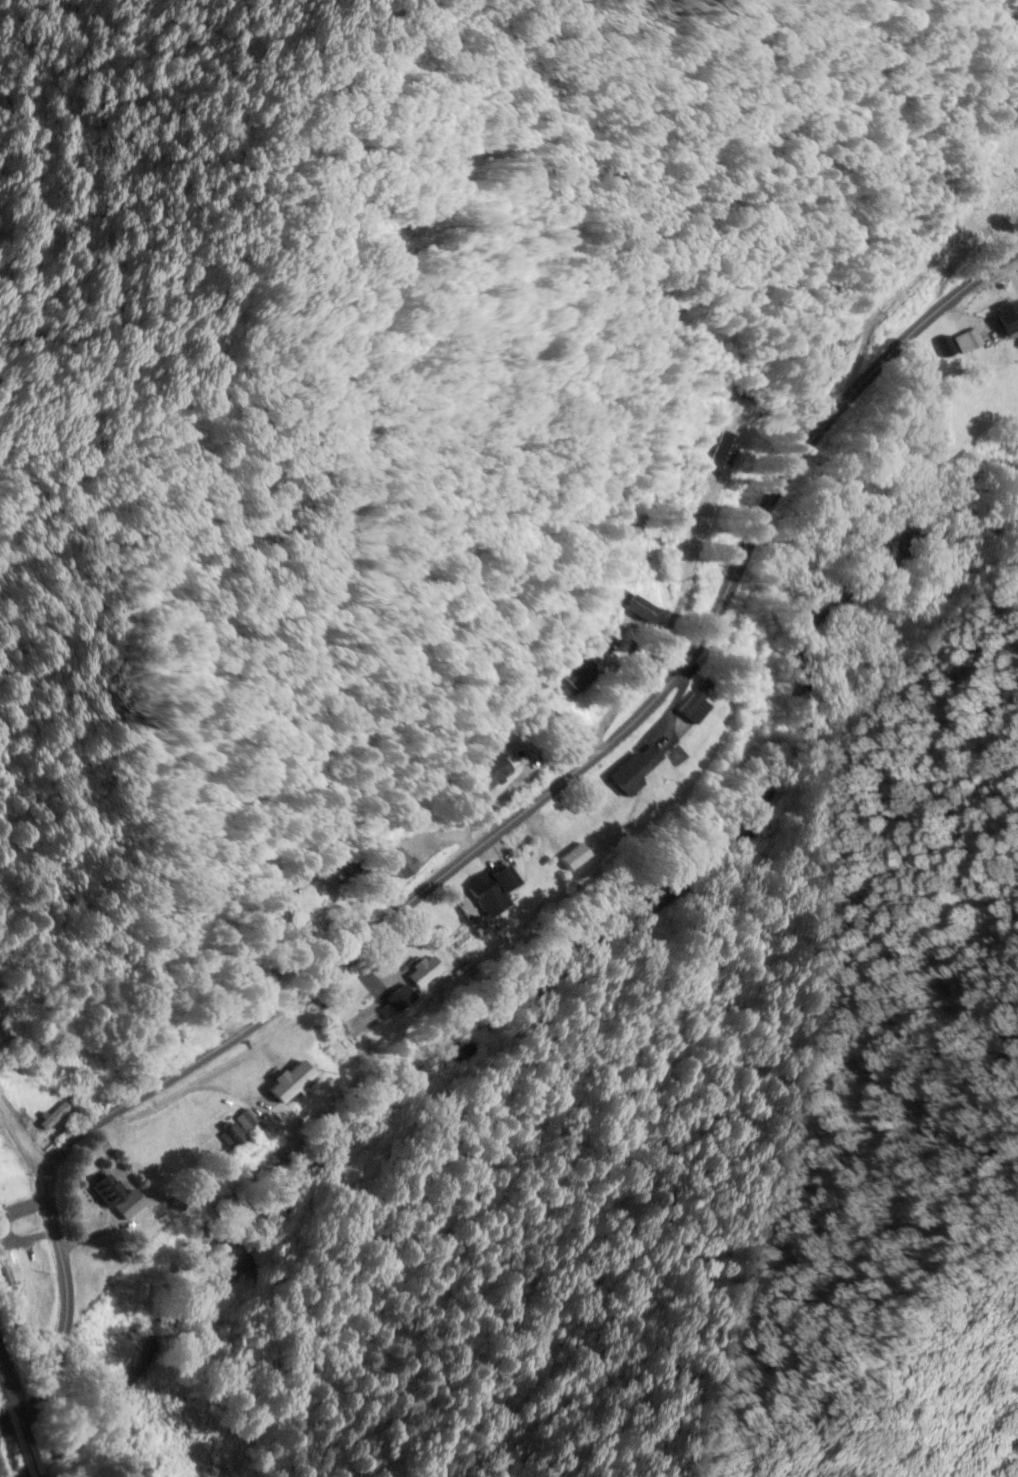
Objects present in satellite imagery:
building: (575, 674)
building: (689, 709)
building: (631, 772)
building: (487, 774)
building: (575, 828)
road: (479, 850)
building: (570, 859)
building: (395, 863)
building: (487, 891)
building: (425, 972)
building: (285, 1081)
building: (49, 1113)
road: (24, 1137)
building: (102, 1191)
railway: (6, 1382)
railway: (26, 1437)

